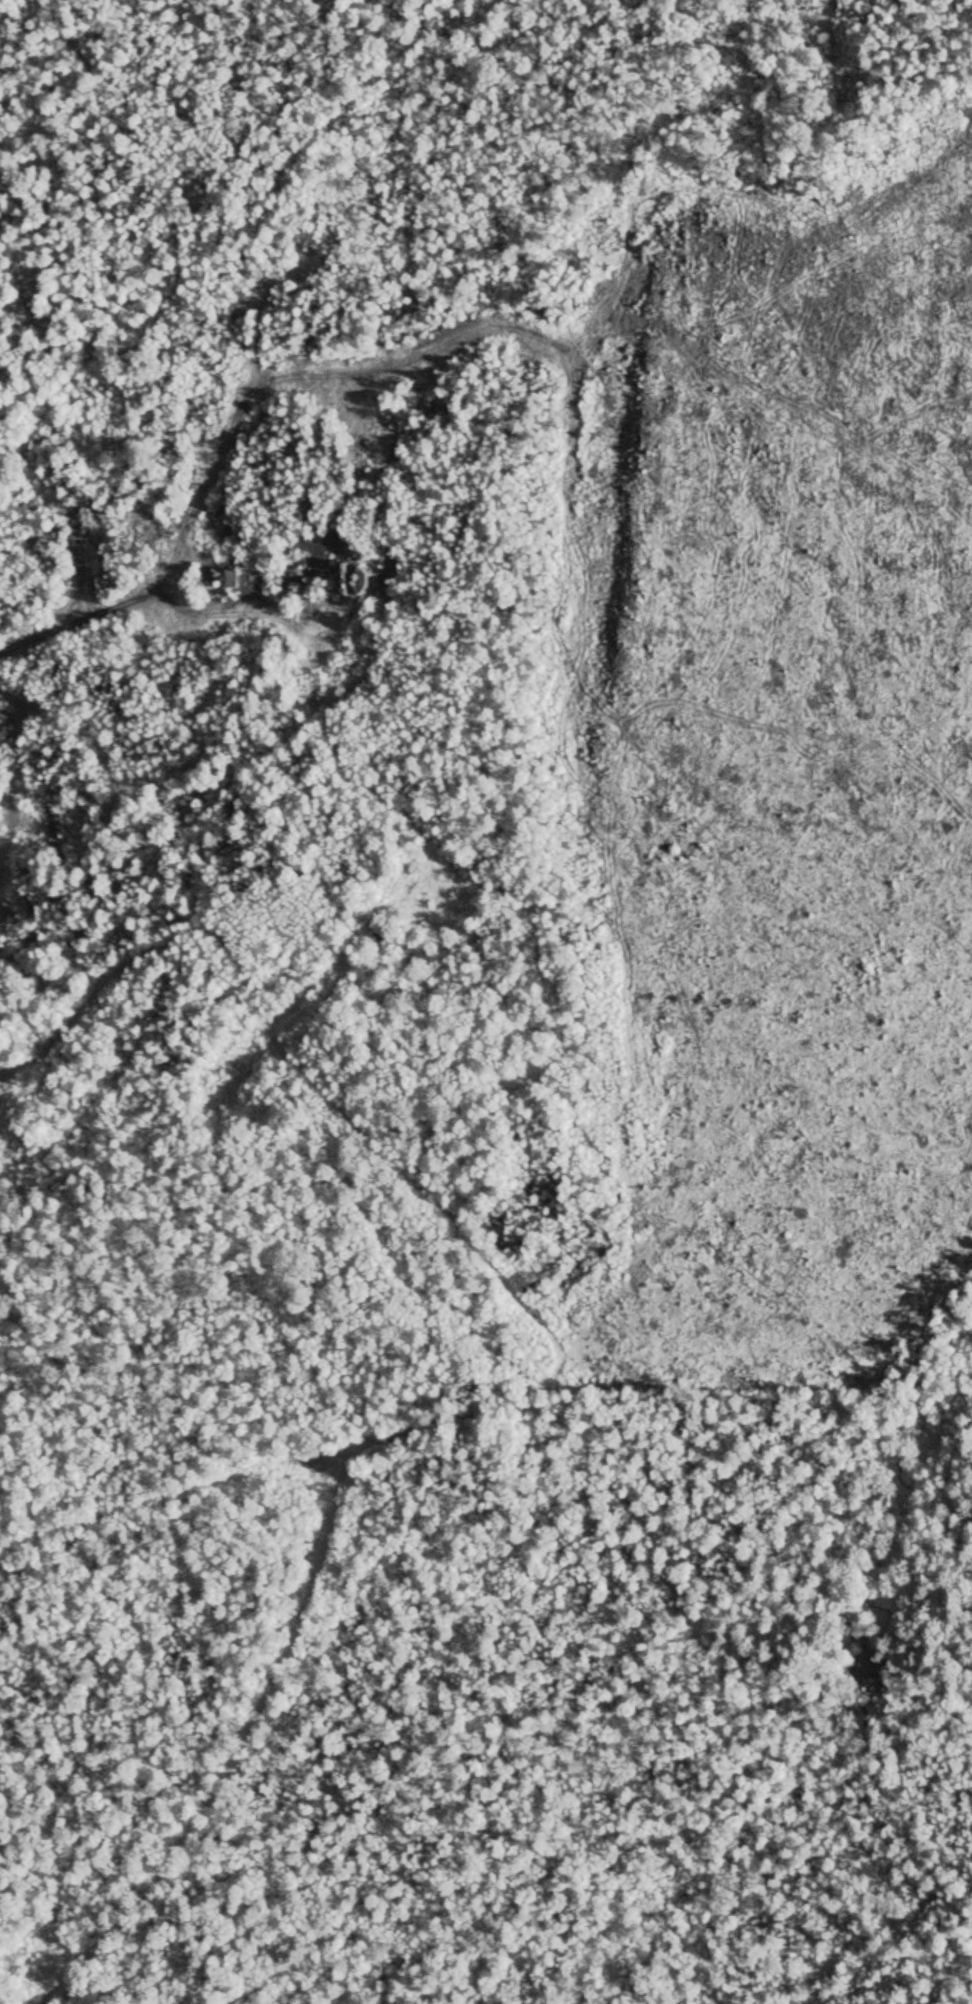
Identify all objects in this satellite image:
road: (224, 676)
road: (323, 1406)

